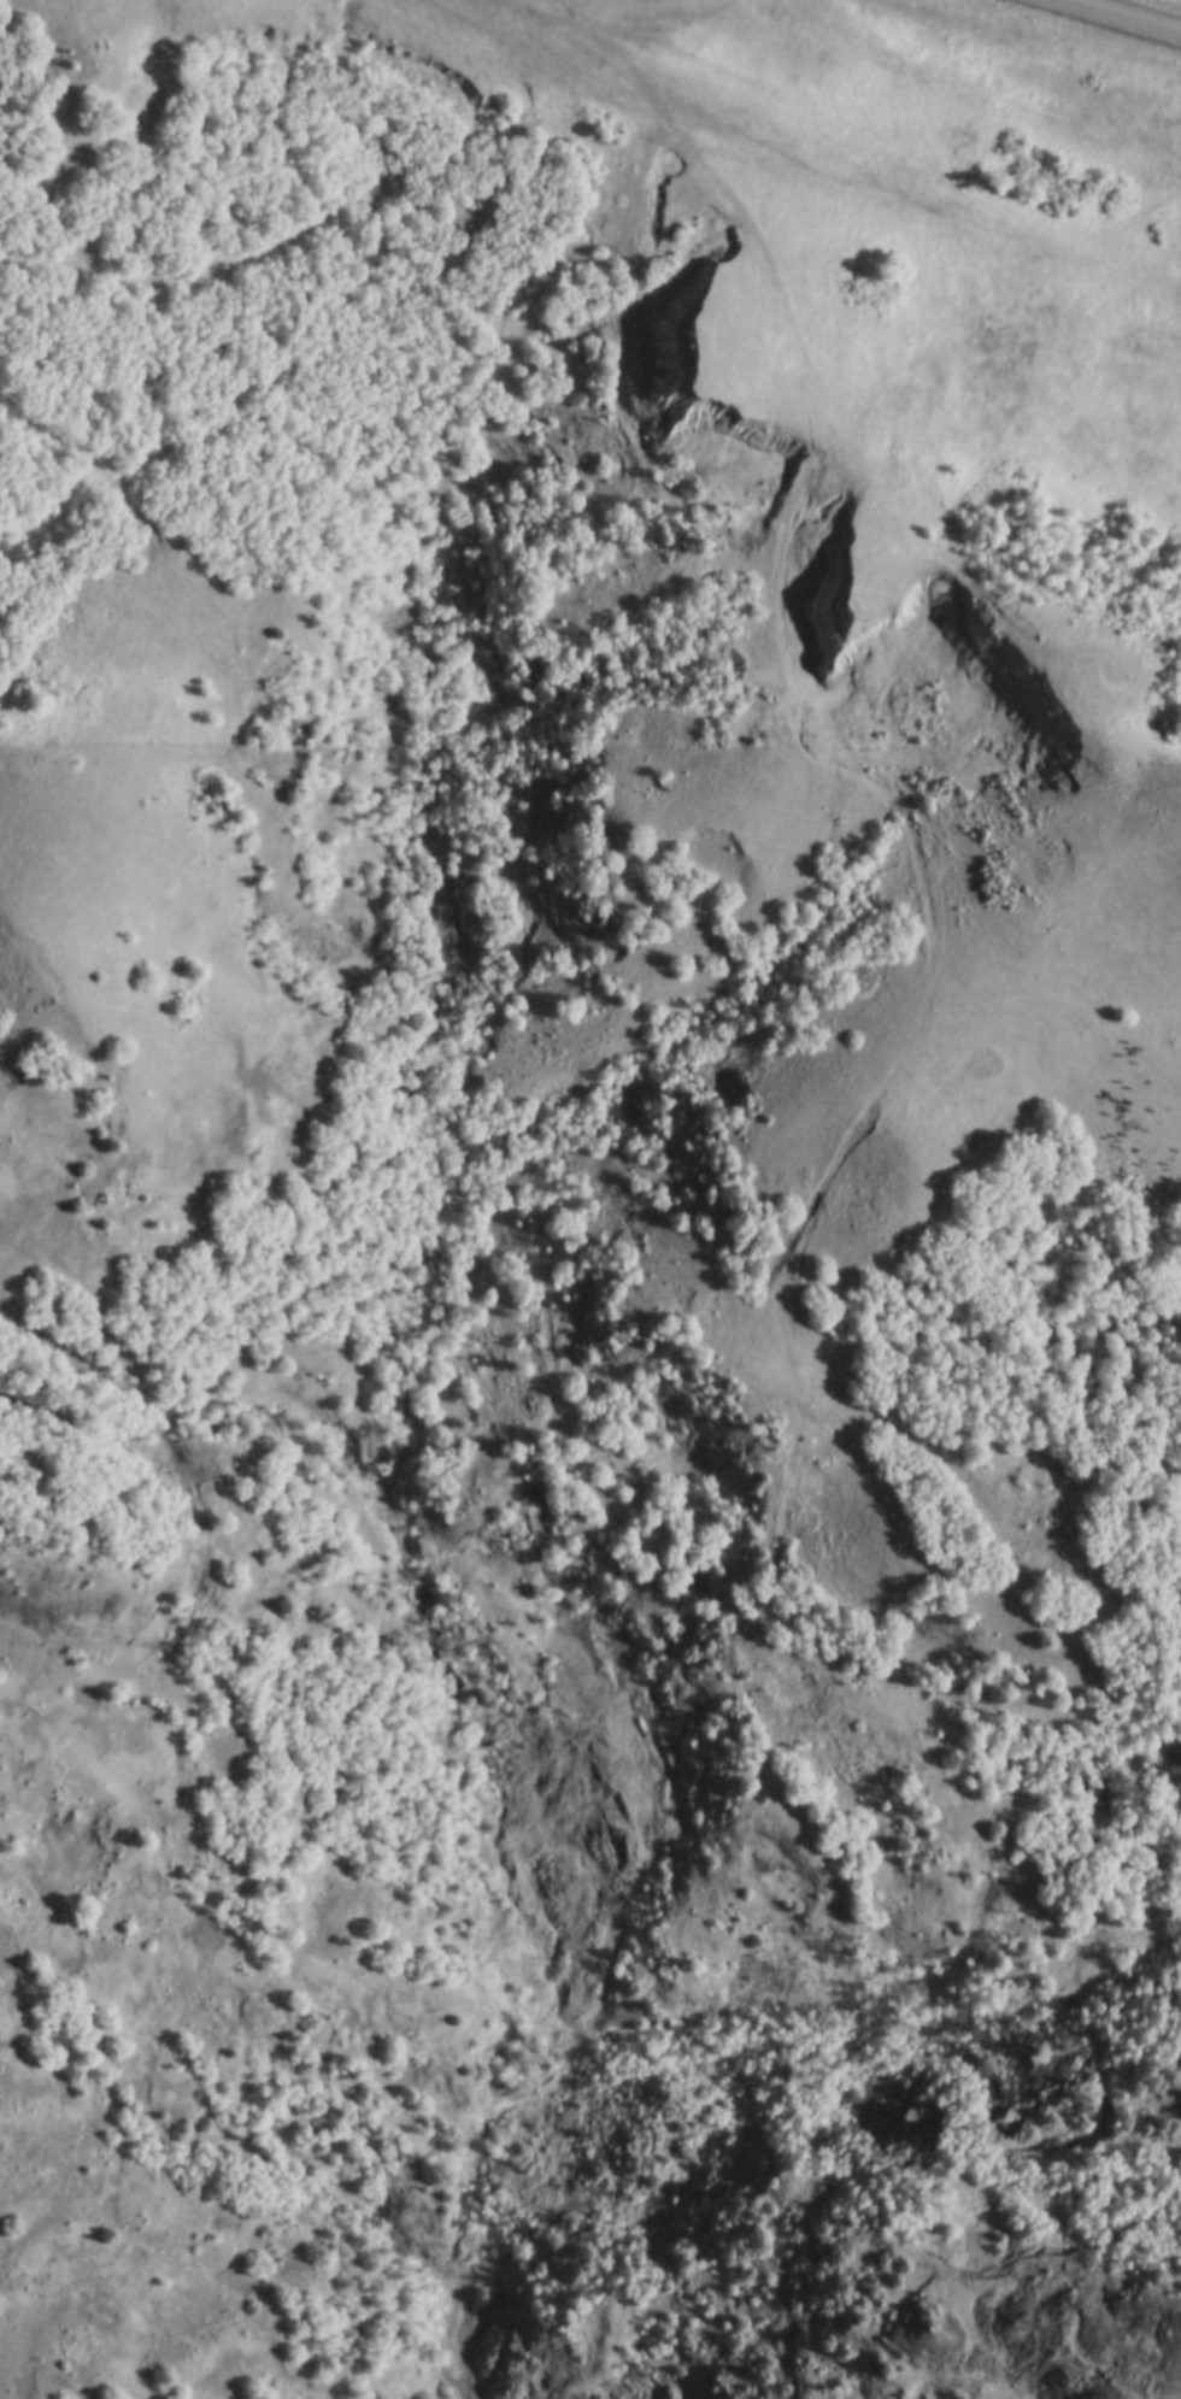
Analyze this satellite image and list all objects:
road: (1134, 14)

